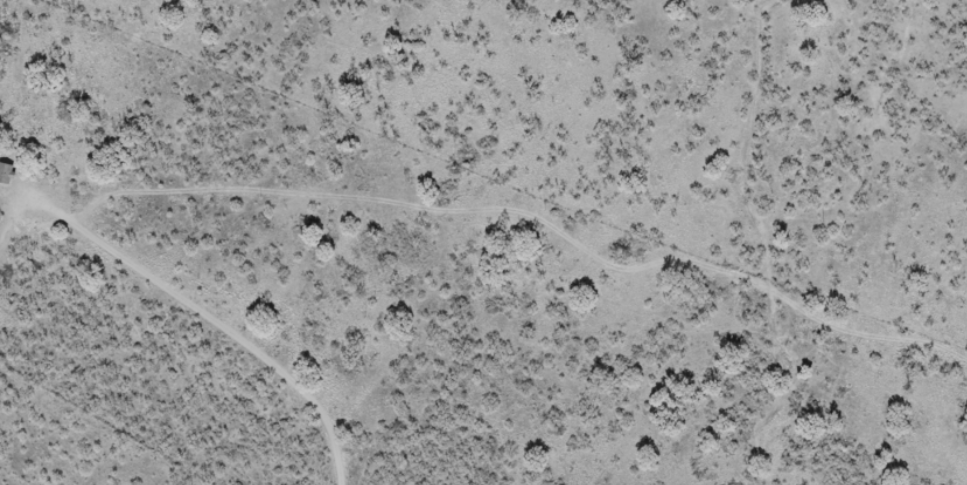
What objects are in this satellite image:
building: (7, 173)
road: (197, 327)

